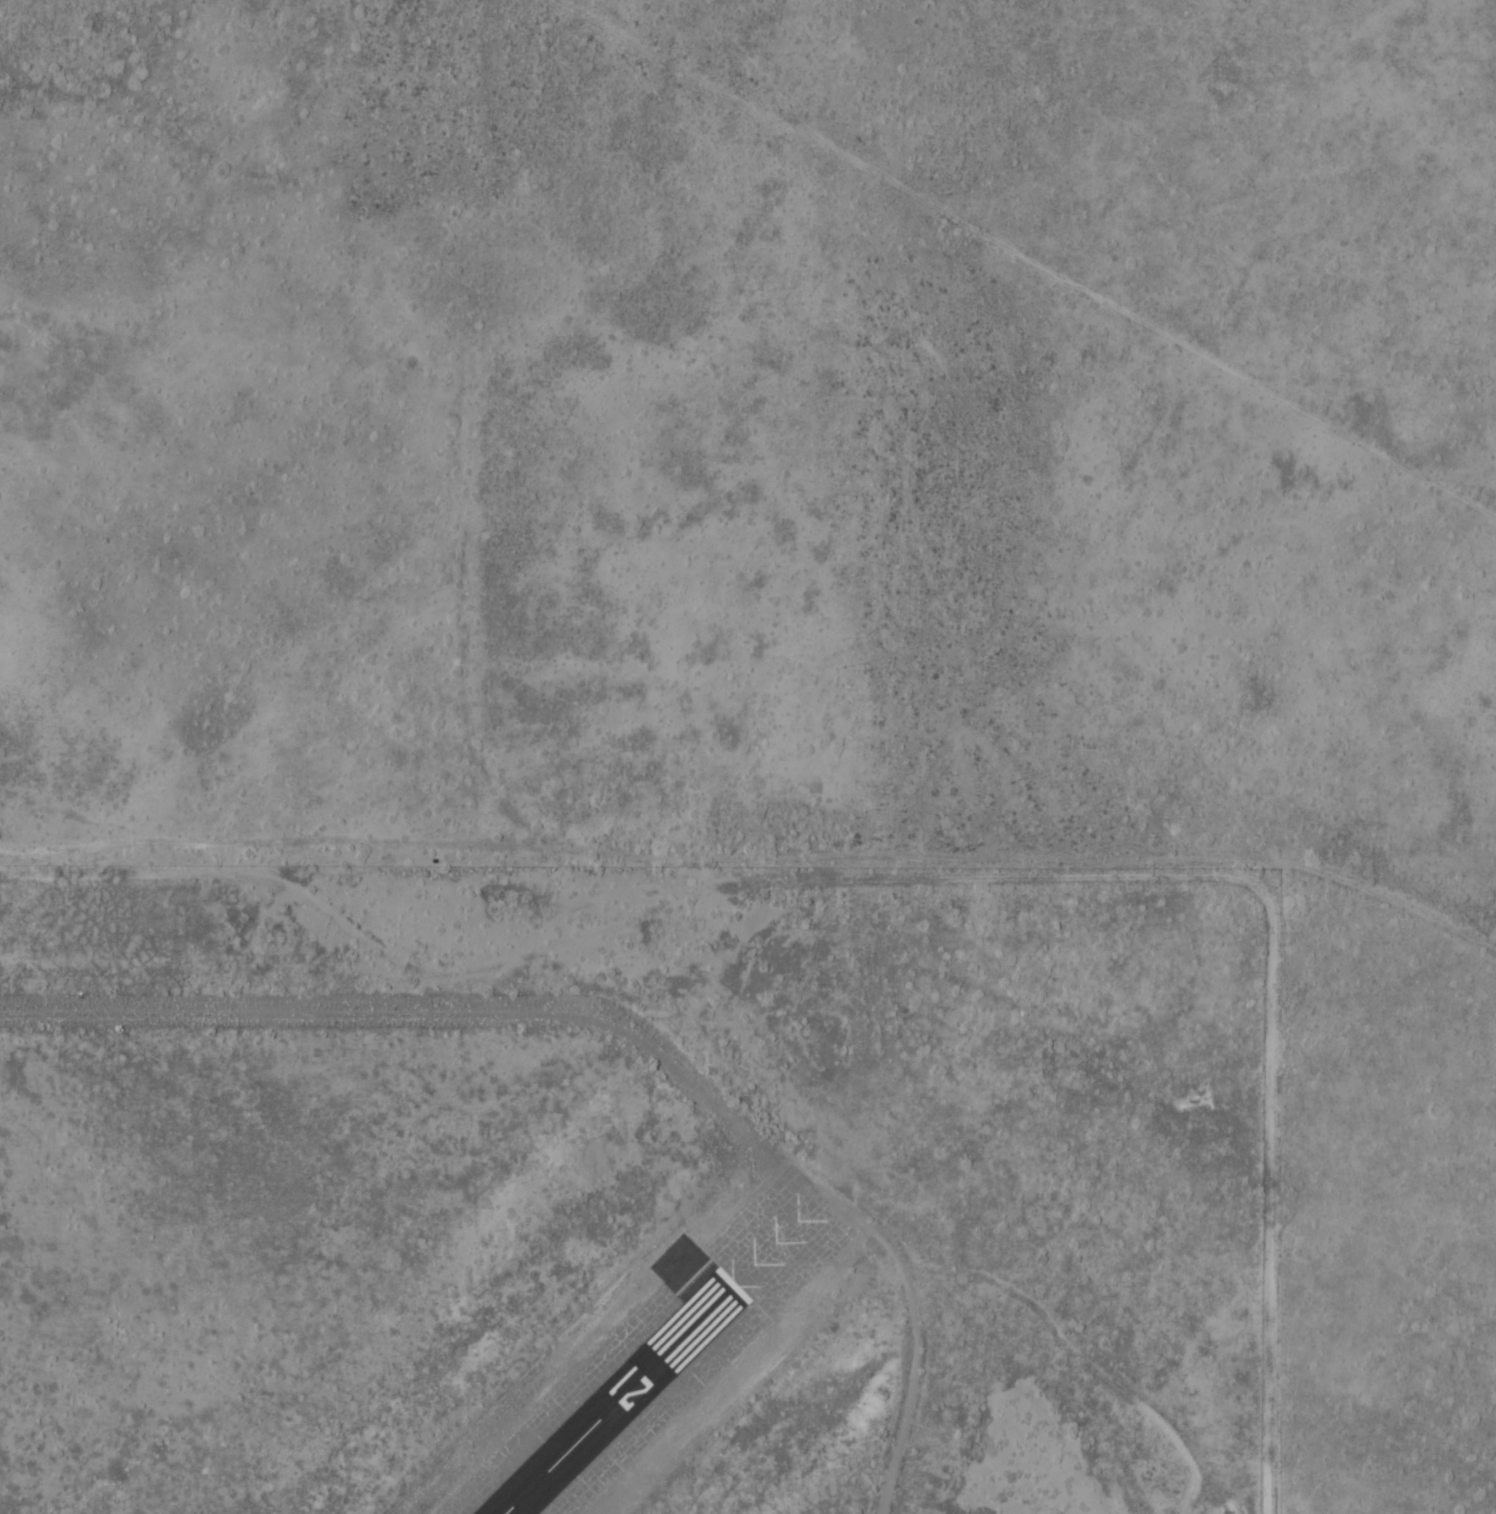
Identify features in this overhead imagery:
road: (756, 854)
airport taxiway: (499, 1011)
airport runway: (617, 1398)

